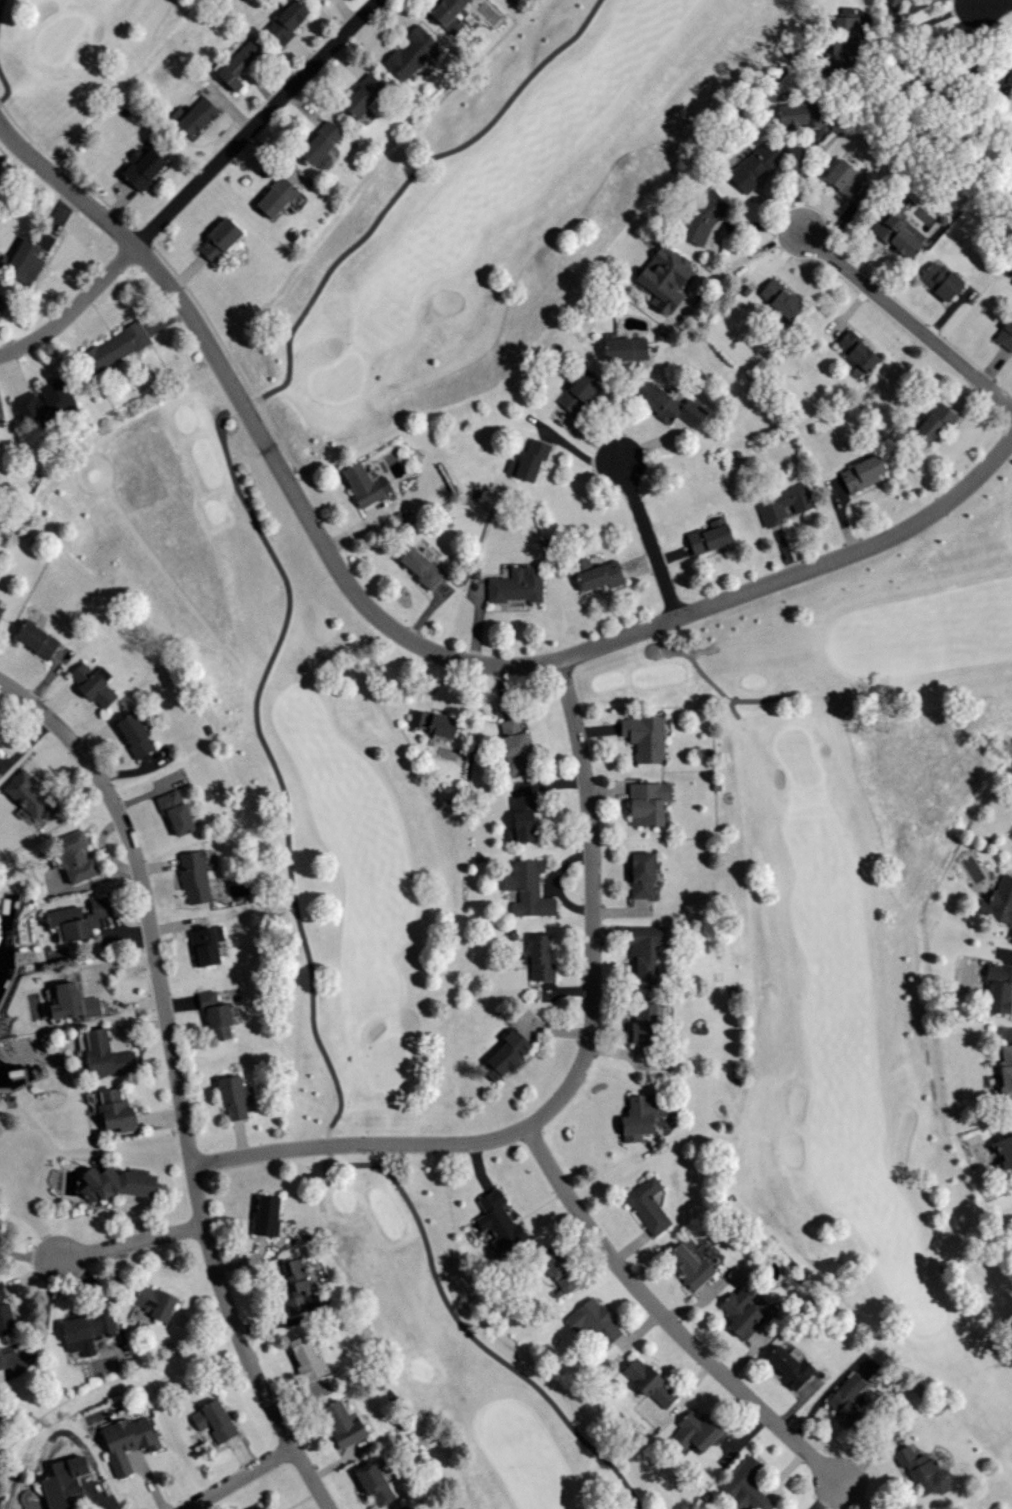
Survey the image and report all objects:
road: (995, 2)
building: (893, 3)
road: (1, 4)
building: (442, 10)
building: (281, 18)
road: (929, 21)
building: (843, 40)
building: (408, 53)
building: (232, 65)
park: (54, 67)
building: (1001, 75)
road: (7, 86)
building: (359, 95)
building: (191, 115)
building: (796, 115)
building: (316, 142)
building: (751, 164)
building: (140, 168)
building: (834, 174)
road: (194, 185)
road: (65, 186)
building: (273, 196)
building: (699, 216)
building: (892, 229)
building: (212, 239)
building: (24, 258)
road: (741, 262)
building: (658, 279)
building: (936, 279)
building: (776, 298)
road: (906, 318)
building: (1004, 333)
building: (112, 347)
building: (622, 349)
building: (853, 351)
building: (575, 389)
building: (39, 401)
road: (243, 403)
building: (665, 403)
building: (930, 423)
building: (527, 459)
building: (860, 471)
building: (362, 483)
building: (780, 503)
building: (706, 536)
road: (649, 538)
building: (421, 564)
building: (596, 572)
building: (518, 584)
building: (1, 608)
building: (37, 638)
road: (701, 650)
road: (495, 665)
building: (94, 684)
road: (715, 687)
road: (733, 706)
building: (433, 723)
building: (136, 735)
park: (613, 735)
building: (645, 735)
building: (514, 745)
building: (30, 796)
building: (648, 801)
building: (175, 812)
building: (523, 816)
building: (76, 856)
building: (642, 873)
building: (196, 877)
building: (528, 887)
building: (1002, 901)
building: (80, 918)
building: (205, 945)
building: (644, 952)
building: (541, 958)
building: (999, 987)
building: (74, 1001)
building: (216, 1014)
building: (648, 1022)
building: (506, 1052)
building: (102, 1053)
building: (1006, 1069)
road: (578, 1070)
road: (177, 1082)
building: (93, 1097)
building: (232, 1097)
building: (116, 1110)
building: (642, 1115)
building: (1004, 1150)
building: (117, 1182)
road: (401, 1187)
road: (323, 1190)
building: (648, 1205)
building: (267, 1215)
building: (498, 1222)
road: (130, 1243)
road: (28, 1255)
building: (690, 1265)
building: (558, 1267)
building: (294, 1282)
building: (2, 1291)
building: (154, 1300)
building: (743, 1308)
building: (6, 1318)
road: (665, 1319)
building: (594, 1321)
road: (43, 1323)
building: (86, 1330)
building: (307, 1357)
building: (0, 1363)
building: (789, 1365)
building: (649, 1382)
building: (842, 1384)
building: (848, 1398)
building: (215, 1420)
building: (343, 1424)
building: (697, 1431)
building: (129, 1440)
building: (922, 1465)
road: (239, 1478)
building: (375, 1483)
building: (746, 1485)
building: (63, 1490)
building: (262, 1507)

